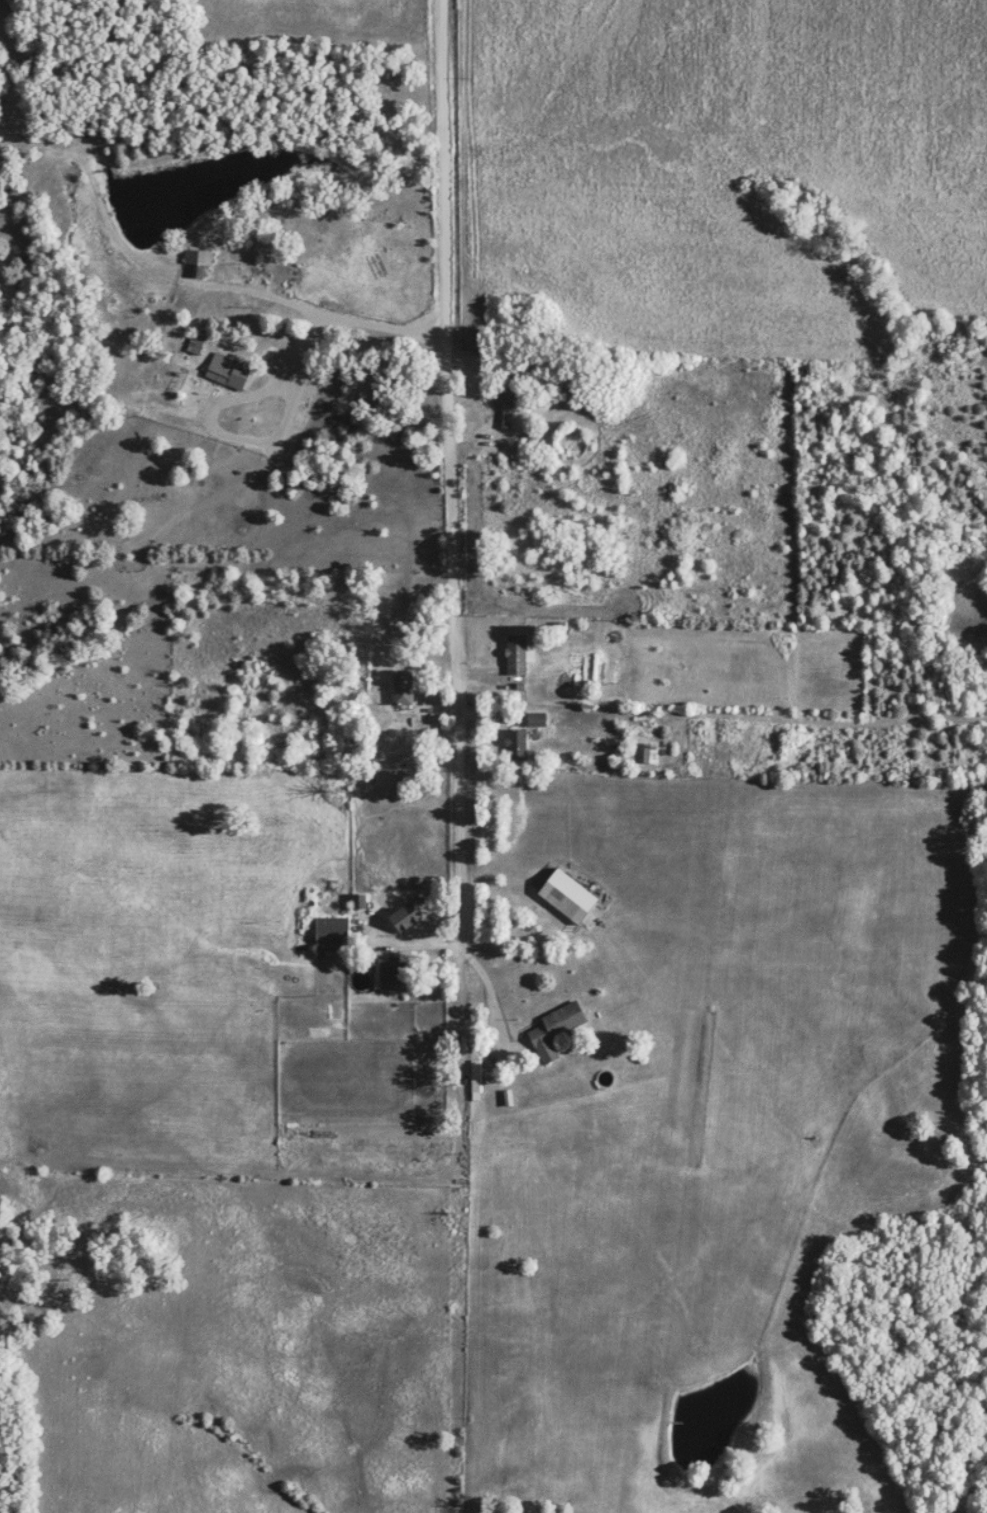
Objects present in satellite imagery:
building: (199, 258)
road: (315, 309)
building: (196, 340)
building: (228, 370)
building: (551, 391)
road: (450, 470)
building: (517, 653)
road: (512, 680)
building: (403, 685)
road: (413, 714)
building: (536, 718)
building: (516, 743)
building: (649, 754)
building: (568, 894)
building: (405, 916)
building: (332, 932)
road: (408, 939)
building: (392, 973)
road: (489, 988)
building: (555, 1028)
building: (475, 1078)
airport runway: (676, 1147)

